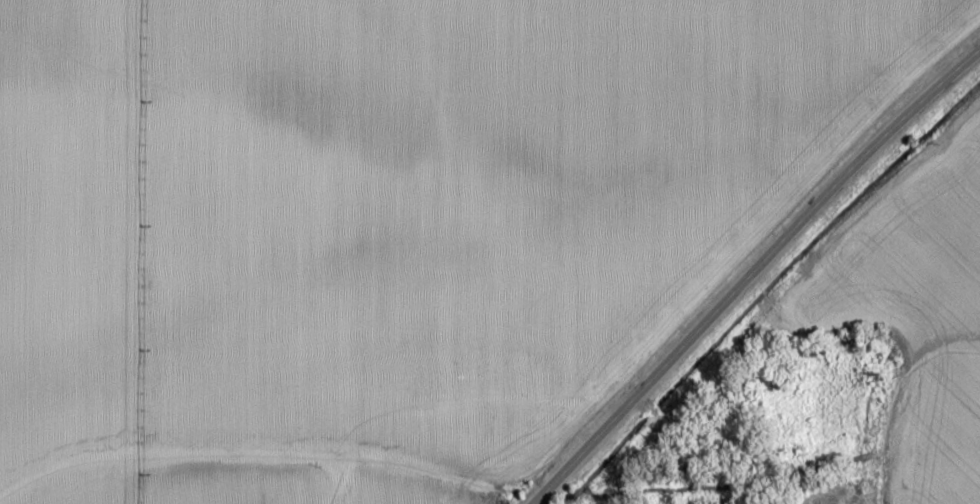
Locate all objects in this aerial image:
road: (753, 270)
road: (956, 361)

